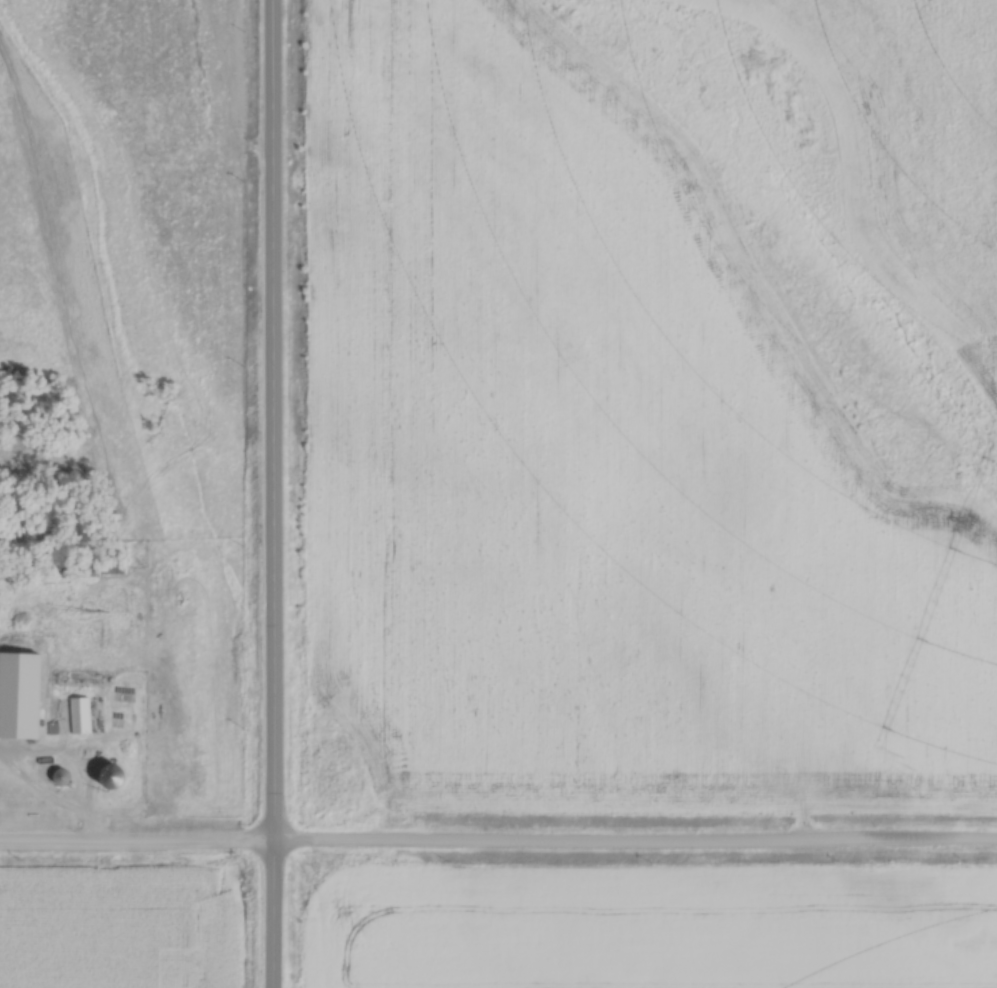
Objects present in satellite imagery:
crop: (597, 459)
road: (274, 493)
building: (23, 693)
building: (83, 714)
road: (498, 844)
crop: (117, 928)

